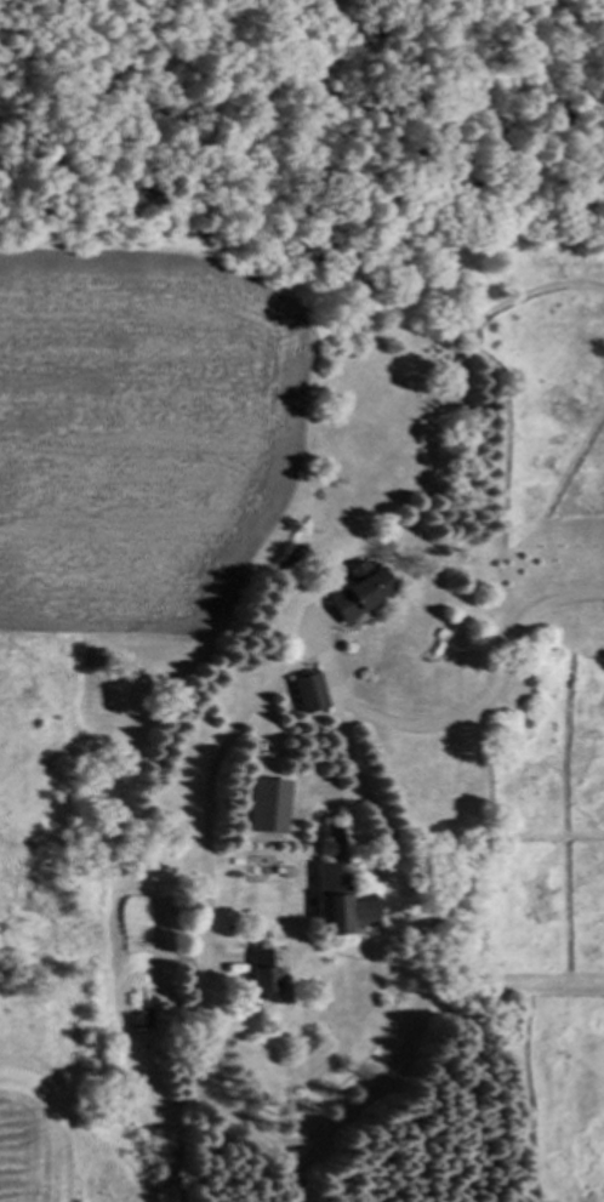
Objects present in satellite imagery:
building: (358, 591)
building: (308, 694)
road: (232, 727)
building: (264, 807)
building: (336, 891)
building: (261, 972)

